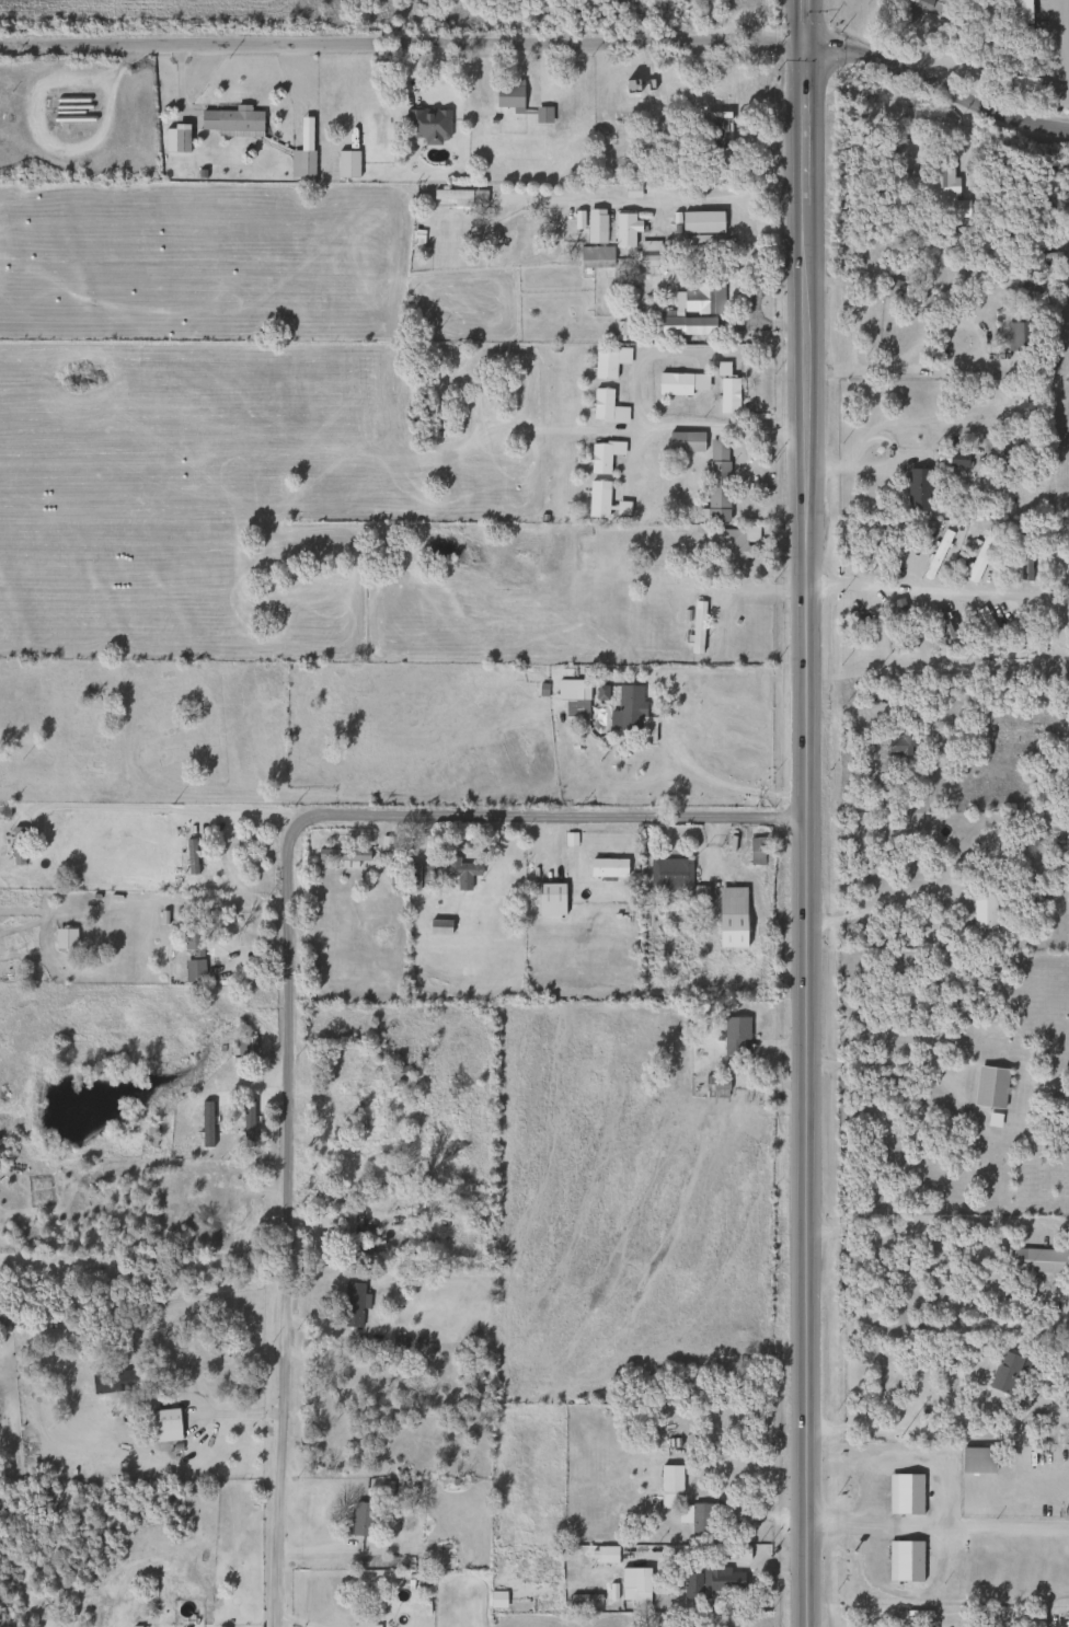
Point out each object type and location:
building: (910, 11)
road: (280, 42)
road: (819, 50)
road: (1064, 50)
building: (636, 90)
building: (506, 95)
building: (869, 116)
building: (717, 118)
building: (230, 122)
building: (425, 125)
building: (173, 139)
building: (299, 164)
building: (345, 164)
road: (808, 175)
building: (941, 193)
building: (456, 196)
road: (655, 203)
building: (594, 227)
building: (623, 230)
building: (702, 231)
building: (647, 253)
building: (594, 257)
building: (1031, 288)
building: (894, 290)
road: (769, 291)
building: (702, 297)
building: (685, 326)
road: (768, 326)
building: (1016, 336)
road: (806, 360)
building: (606, 362)
road: (961, 365)
building: (679, 384)
road: (633, 393)
building: (726, 396)
building: (604, 407)
building: (683, 442)
building: (600, 455)
road: (627, 458)
building: (949, 459)
building: (715, 481)
building: (915, 489)
road: (742, 496)
building: (596, 499)
building: (620, 508)
building: (725, 547)
building: (582, 552)
building: (934, 554)
building: (980, 555)
building: (1023, 555)
road: (936, 591)
building: (901, 625)
building: (1042, 625)
building: (987, 627)
building: (694, 628)
building: (942, 630)
building: (854, 631)
building: (570, 690)
building: (629, 713)
building: (899, 745)
road: (186, 810)
building: (16, 845)
building: (752, 850)
building: (340, 854)
building: (187, 862)
building: (606, 866)
building: (457, 867)
building: (667, 874)
building: (417, 877)
building: (1031, 890)
building: (549, 899)
road: (873, 907)
building: (980, 909)
building: (731, 916)
building: (438, 926)
building: (62, 937)
road: (281, 967)
building: (191, 970)
road: (805, 997)
building: (733, 1034)
building: (1068, 1036)
road: (918, 1062)
building: (395, 1074)
building: (717, 1085)
building: (988, 1086)
building: (234, 1088)
building: (1015, 1094)
building: (355, 1100)
building: (245, 1124)
road: (938, 1219)
building: (250, 1225)
building: (345, 1230)
building: (1036, 1260)
building: (350, 1304)
building: (1009, 1371)
building: (112, 1381)
road: (232, 1412)
building: (163, 1424)
road: (928, 1431)
building: (668, 1478)
building: (903, 1493)
road: (936, 1516)
building: (358, 1519)
building: (700, 1521)
road: (936, 1535)
road: (708, 1560)
building: (903, 1560)
building: (712, 1582)
building: (632, 1583)
building: (495, 1600)
building: (1031, 1618)

